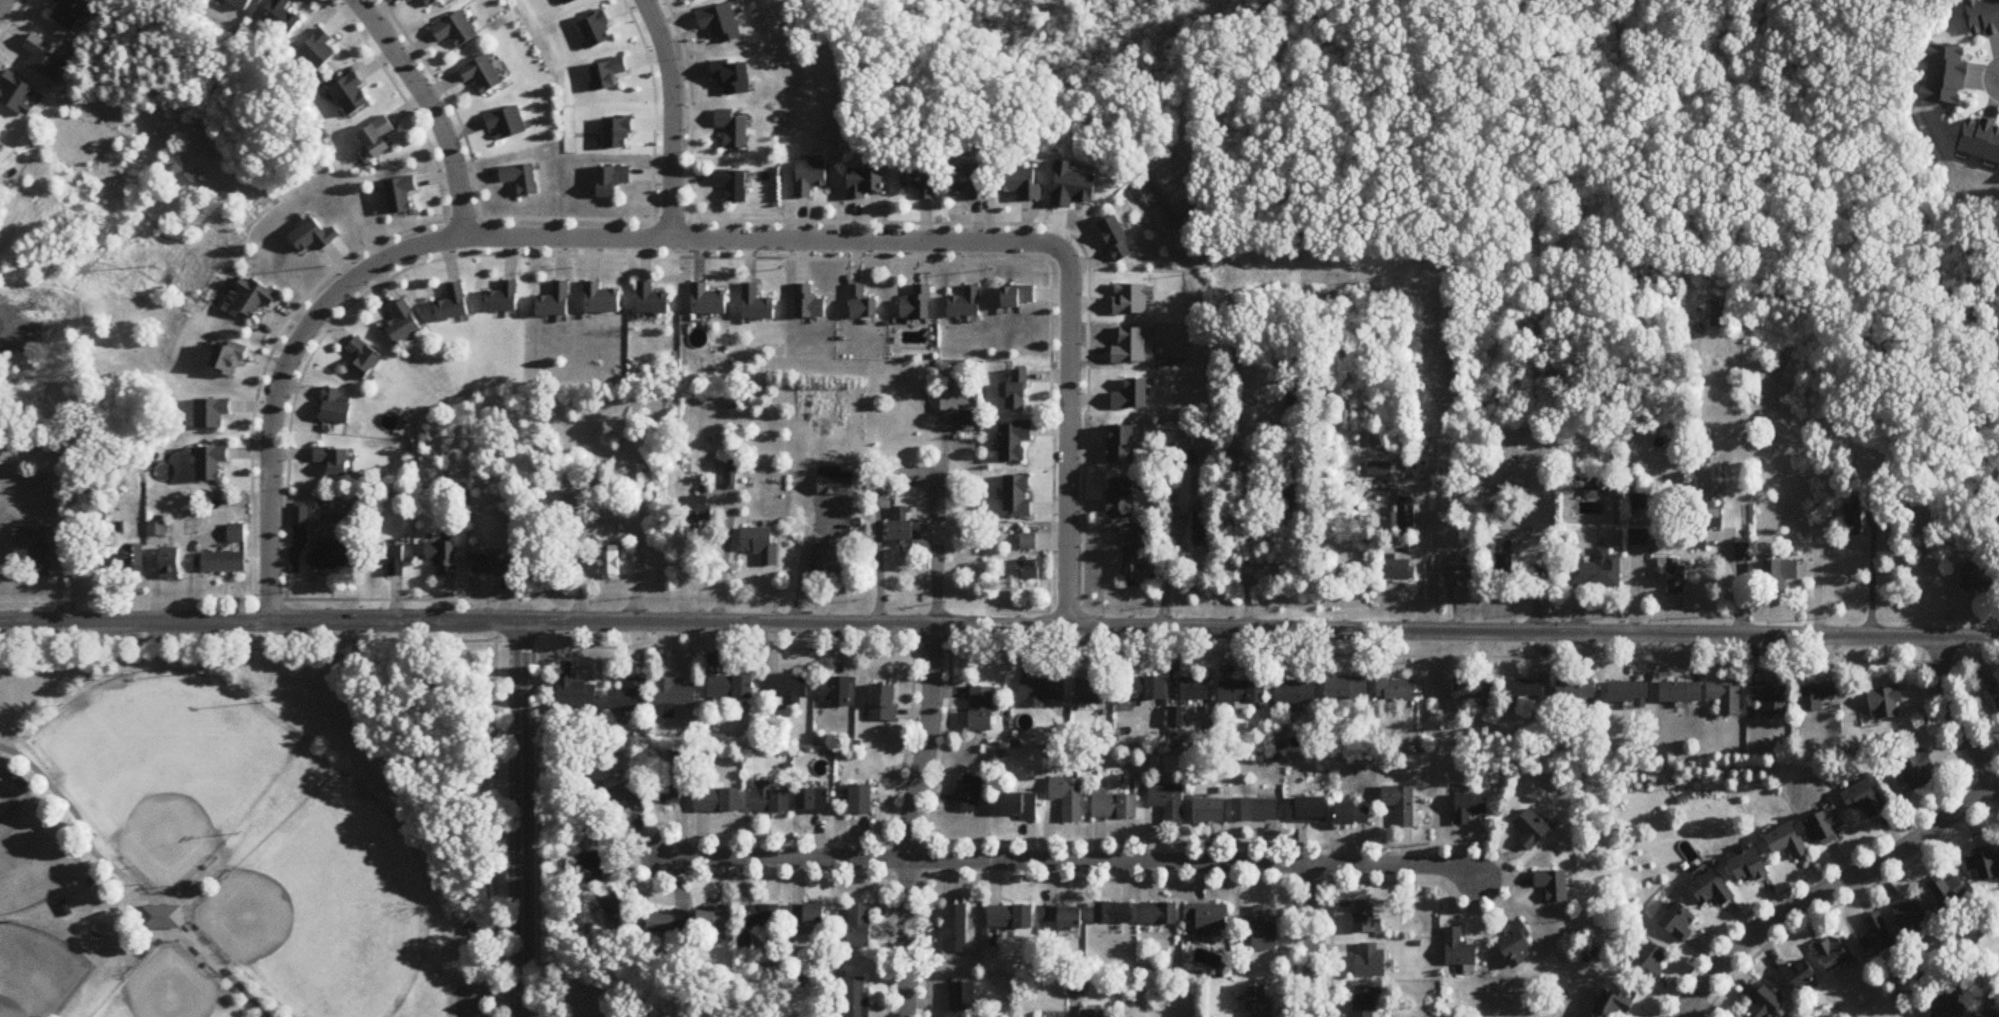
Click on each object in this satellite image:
building: (413, 0)
road: (1, 2)
building: (433, 3)
building: (70, 13)
building: (1984, 17)
building: (282, 19)
building: (456, 31)
building: (319, 54)
building: (482, 75)
building: (1948, 75)
building: (352, 97)
road: (429, 108)
road: (669, 118)
building: (507, 124)
building: (734, 131)
building: (378, 139)
building: (1982, 141)
building: (809, 179)
building: (522, 180)
building: (611, 181)
building: (920, 183)
building: (972, 183)
building: (865, 185)
building: (1023, 185)
building: (733, 186)
building: (400, 196)
building: (311, 237)
road: (516, 239)
building: (1118, 239)
building: (1018, 296)
building: (255, 297)
building: (503, 298)
building: (601, 298)
building: (652, 299)
building: (708, 299)
building: (555, 301)
building: (809, 302)
building: (861, 303)
building: (917, 303)
building: (965, 303)
building: (453, 304)
building: (757, 304)
building: (403, 324)
building: (229, 357)
building: (365, 358)
building: (1018, 390)
building: (1132, 395)
building: (958, 401)
building: (335, 408)
building: (212, 412)
building: (618, 429)
road: (1069, 433)
building: (1015, 440)
building: (1122, 444)
building: (334, 460)
building: (212, 462)
road: (911, 468)
building: (1379, 470)
building: (732, 474)
building: (835, 481)
building: (576, 485)
building: (1592, 489)
building: (1018, 496)
building: (1121, 497)
building: (905, 514)
building: (300, 517)
building: (1406, 520)
building: (1705, 523)
building: (1848, 523)
building: (1203, 530)
building: (237, 533)
building: (1143, 541)
building: (1029, 542)
building: (761, 543)
building: (34, 545)
road: (1418, 556)
building: (331, 557)
building: (443, 557)
building: (134, 558)
building: (390, 558)
road: (1246, 558)
road: (796, 559)
building: (830, 561)
building: (224, 562)
building: (170, 564)
building: (494, 565)
building: (612, 565)
building: (1504, 566)
building: (1139, 569)
building: (1397, 569)
building: (1026, 570)
building: (1598, 571)
road: (1871, 573)
building: (1468, 574)
building: (1779, 576)
building: (1975, 576)
road: (1735, 578)
building: (1675, 580)
road: (259, 599)
road: (999, 624)
road: (540, 633)
road: (999, 648)
building: (1143, 687)
building: (731, 688)
building: (1196, 688)
building: (1473, 688)
building: (785, 689)
building: (1347, 689)
building: (1525, 689)
building: (1043, 690)
building: (1397, 690)
building: (836, 691)
building: (1091, 691)
building: (1577, 691)
building: (1629, 691)
building: (1682, 691)
building: (1242, 692)
building: (576, 693)
building: (675, 693)
building: (1296, 693)
building: (1993, 694)
building: (1819, 695)
building: (628, 696)
building: (1728, 697)
building: (1773, 697)
building: (884, 703)
building: (1879, 703)
building: (982, 708)
road: (1952, 714)
building: (678, 754)
park: (166, 764)
building: (1910, 770)
building: (18, 780)
building: (666, 791)
building: (969, 794)
building: (620, 797)
building: (1069, 797)
building: (1857, 798)
building: (770, 799)
building: (718, 800)
building: (862, 800)
building: (813, 801)
building: (1168, 802)
building: (1401, 804)
building: (1019, 805)
building: (1115, 805)
building: (1470, 807)
building: (1311, 809)
building: (1210, 810)
building: (1256, 810)
building: (1353, 813)
road: (495, 818)
road: (520, 818)
road: (913, 819)
park: (253, 824)
building: (1820, 826)
building: (1533, 829)
road: (538, 831)
building: (1781, 841)
park: (30, 853)
road: (1073, 860)
building: (1982, 864)
building: (1745, 867)
building: (596, 868)
building: (1555, 886)
road: (1830, 889)
building: (1712, 890)
building: (1943, 891)
road: (134, 895)
park: (326, 907)
building: (618, 911)
building: (1902, 912)
building: (1113, 913)
building: (1159, 913)
building: (807, 914)
building: (763, 916)
building: (1011, 917)
building: (1065, 917)
building: (1366, 917)
building: (161, 918)
building: (1209, 919)
building: (714, 920)
building: (1681, 923)
building: (663, 924)
building: (859, 925)
building: (1265, 928)
building: (954, 929)
road: (145, 934)
building: (1872, 936)
road: (1313, 940)
building: (1518, 946)
building: (1460, 949)
building: (1828, 953)
building: (1370, 960)
building: (1650, 961)
park: (37, 973)
building: (1794, 973)
park: (170, 989)
road: (484, 994)
building: (856, 997)
building: (964, 997)
parking lot: (474, 1000)
building: (1260, 1000)
building: (1366, 1002)
building: (1767, 1004)
building: (1613, 1005)
building: (1939, 1007)
building: (1096, 1013)
road: (1692, 1013)
building: (1994, 1015)

